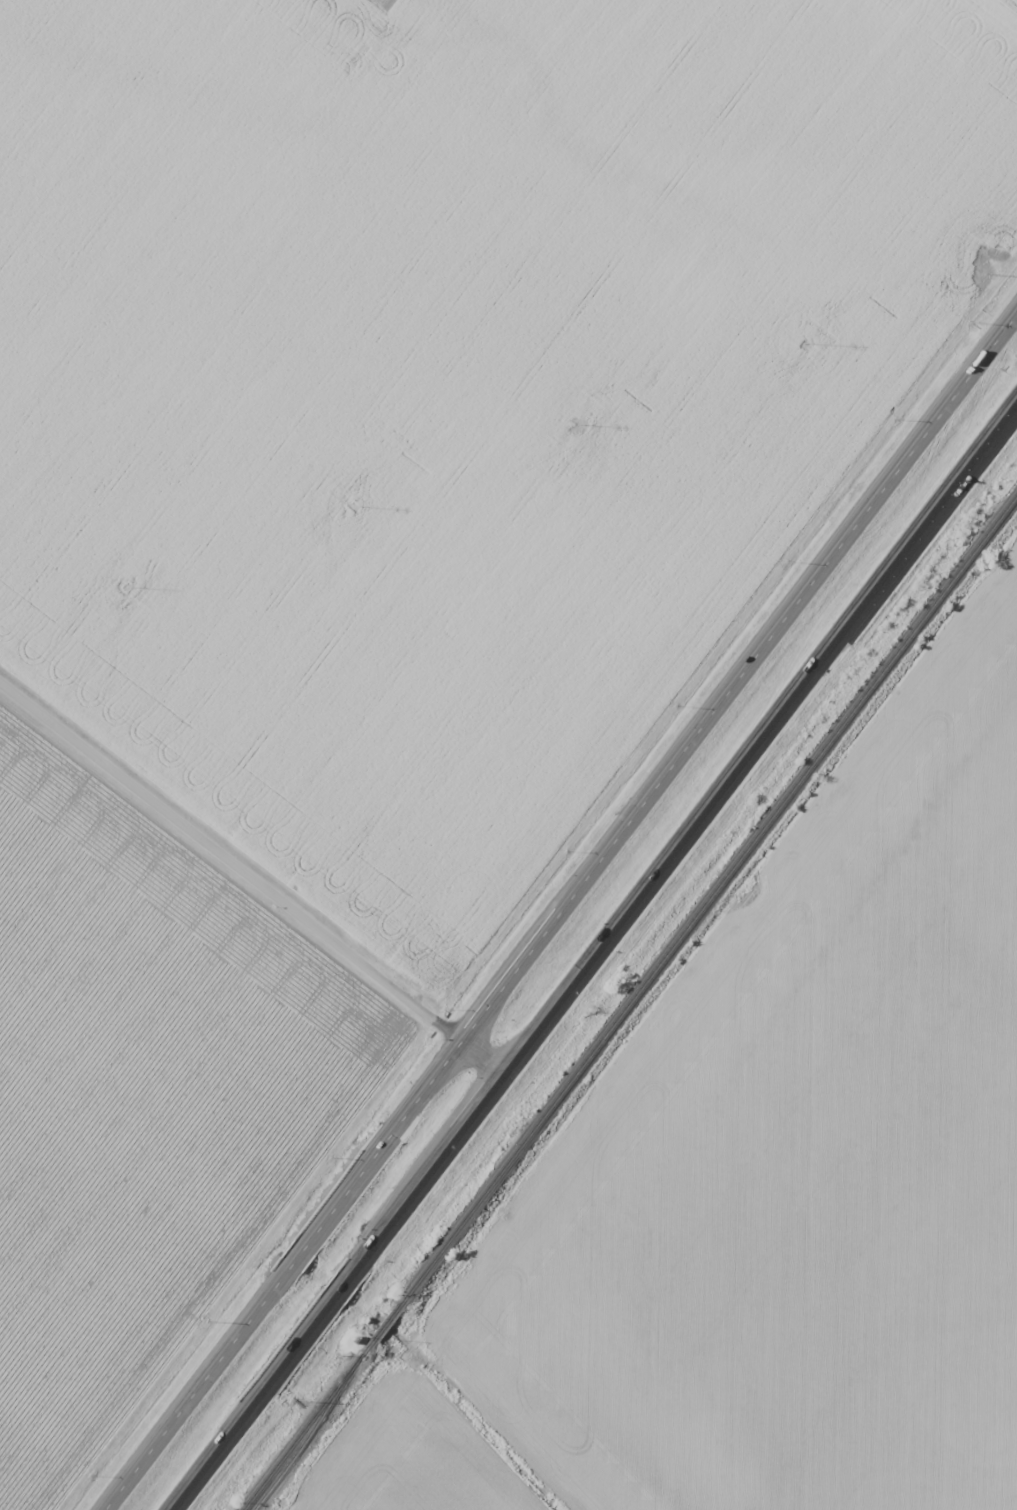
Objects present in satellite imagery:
road: (252, 881)
road: (558, 913)
railway: (684, 930)
road: (594, 963)
railway: (297, 1438)
railway: (306, 1440)

